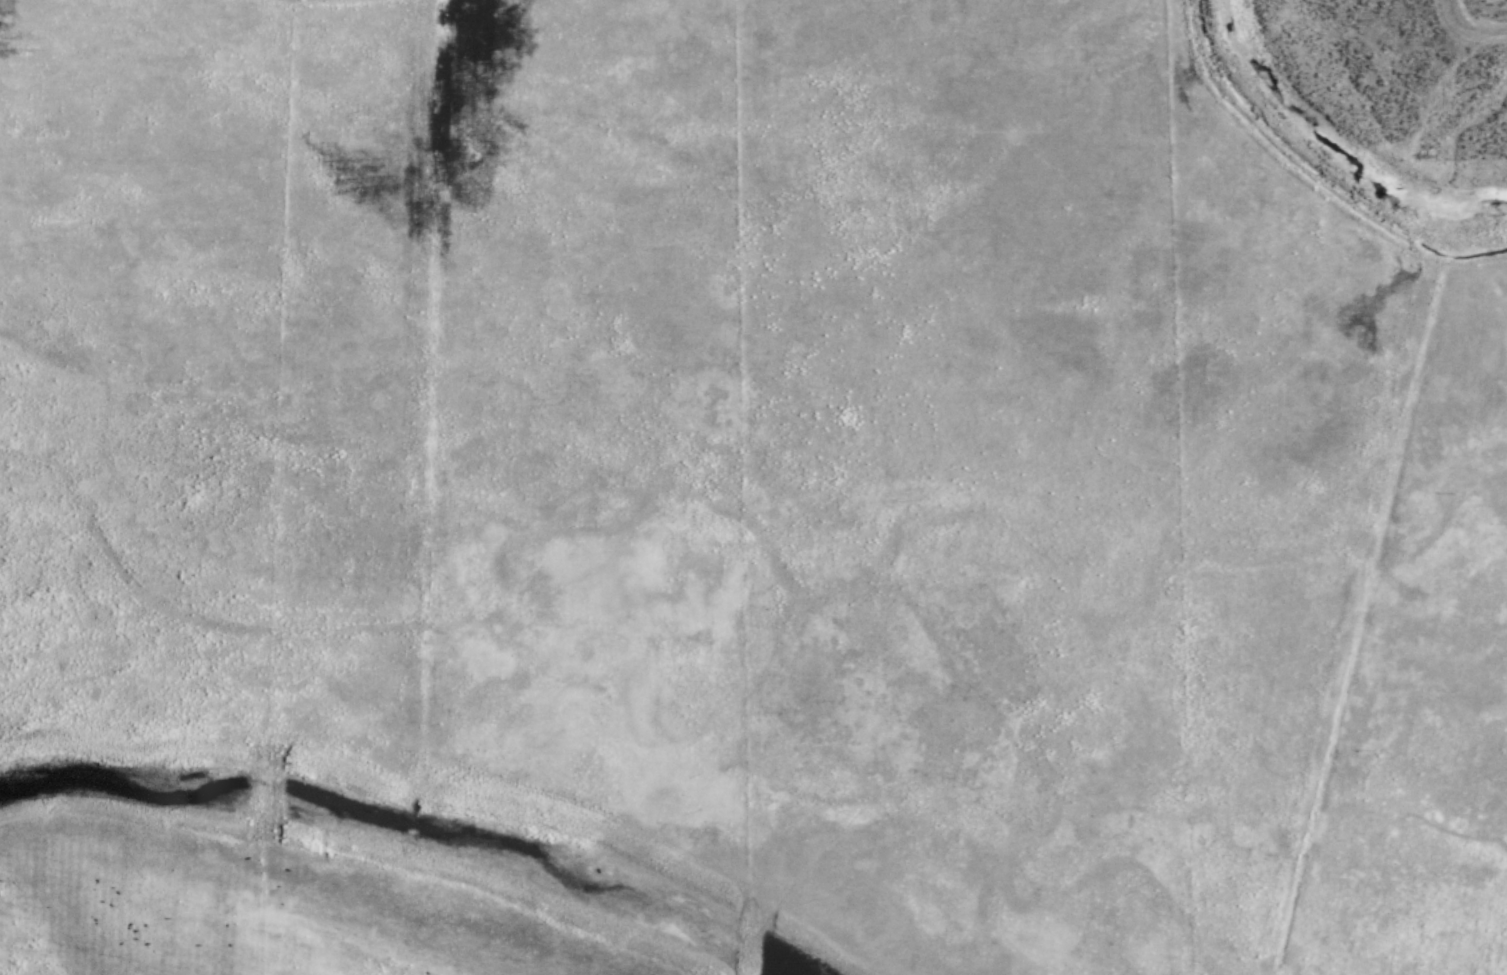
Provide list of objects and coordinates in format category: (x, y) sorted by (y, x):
road: (1473, 29)

